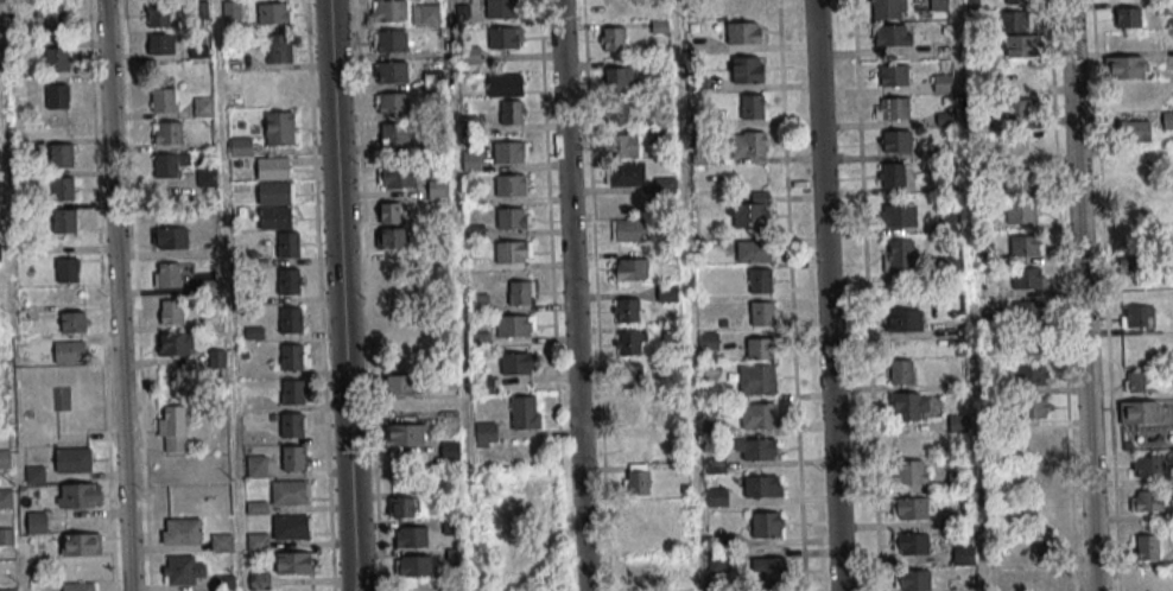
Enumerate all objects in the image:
building: (1015, 1)
building: (938, 4)
building: (611, 7)
building: (501, 8)
building: (886, 8)
building: (233, 9)
building: (389, 9)
building: (273, 13)
building: (425, 13)
building: (157, 14)
building: (53, 15)
building: (1128, 17)
building: (1016, 19)
building: (746, 32)
building: (890, 34)
building: (505, 37)
building: (611, 39)
building: (388, 40)
building: (160, 43)
building: (1021, 46)
building: (279, 47)
building: (474, 52)
building: (57, 57)
building: (1124, 66)
building: (748, 69)
building: (389, 71)
building: (890, 75)
building: (617, 78)
building: (941, 82)
building: (503, 84)
building: (278, 85)
building: (163, 94)
building: (57, 95)
building: (391, 102)
building: (203, 106)
building: (750, 106)
building: (892, 107)
building: (1019, 108)
building: (512, 112)
building: (615, 112)
building: (279, 127)
building: (1131, 127)
building: (166, 132)
building: (392, 133)
building: (895, 140)
building: (748, 142)
building: (1017, 144)
building: (622, 145)
building: (240, 146)
building: (509, 151)
building: (61, 154)
building: (470, 159)
building: (169, 164)
building: (624, 173)
building: (894, 174)
building: (394, 176)
building: (1020, 179)
building: (274, 180)
building: (511, 184)
building: (438, 188)
building: (63, 189)
building: (388, 211)
building: (750, 211)
building: (1021, 211)
building: (898, 215)
building: (274, 217)
building: (513, 217)
building: (63, 221)
building: (629, 230)
building: (171, 236)
building: (391, 237)
building: (1026, 244)
building: (287, 246)
building: (513, 250)
building: (754, 250)
building: (899, 254)
building: (1124, 263)
building: (629, 268)
building: (66, 269)
building: (169, 273)
building: (1028, 278)
building: (760, 280)
building: (287, 281)
building: (210, 285)
building: (395, 286)
building: (521, 292)
building: (666, 292)
road: (116, 295)
road: (341, 295)
road: (571, 295)
road: (826, 295)
road: (1082, 295)
building: (627, 310)
building: (1028, 310)
building: (171, 311)
building: (762, 312)
building: (1136, 316)
building: (903, 319)
building: (289, 320)
building: (72, 322)
building: (514, 325)
building: (630, 341)
building: (173, 343)
building: (1031, 345)
building: (760, 347)
building: (70, 351)
building: (291, 358)
building: (516, 363)
building: (901, 371)
building: (1033, 375)
building: (630, 376)
building: (756, 379)
building: (1140, 381)
building: (399, 385)
building: (292, 393)
building: (59, 396)
building: (909, 405)
building: (1035, 407)
building: (525, 412)
building: (632, 412)
building: (1140, 412)
building: (757, 414)
building: (291, 426)
building: (172, 428)
building: (405, 433)
building: (486, 433)
building: (1034, 439)
building: (754, 449)
building: (4, 458)
building: (292, 458)
building: (72, 462)
building: (255, 465)
building: (1150, 465)
building: (912, 471)
building: (1038, 472)
building: (636, 478)
building: (762, 485)
building: (289, 494)
building: (717, 496)
building: (5, 497)
building: (80, 497)
building: (1149, 500)
building: (1041, 506)
building: (405, 507)
building: (909, 507)
building: (36, 522)
building: (766, 523)
building: (291, 528)
building: (183, 532)
building: (6, 535)
building: (411, 535)
building: (256, 540)
building: (221, 541)
building: (912, 542)
building: (1042, 542)
building: (83, 546)
building: (1146, 546)
building: (963, 553)
building: (293, 565)
building: (412, 565)
building: (183, 568)
building: (769, 570)
building: (912, 579)
building: (259, 580)
building: (77, 587)

